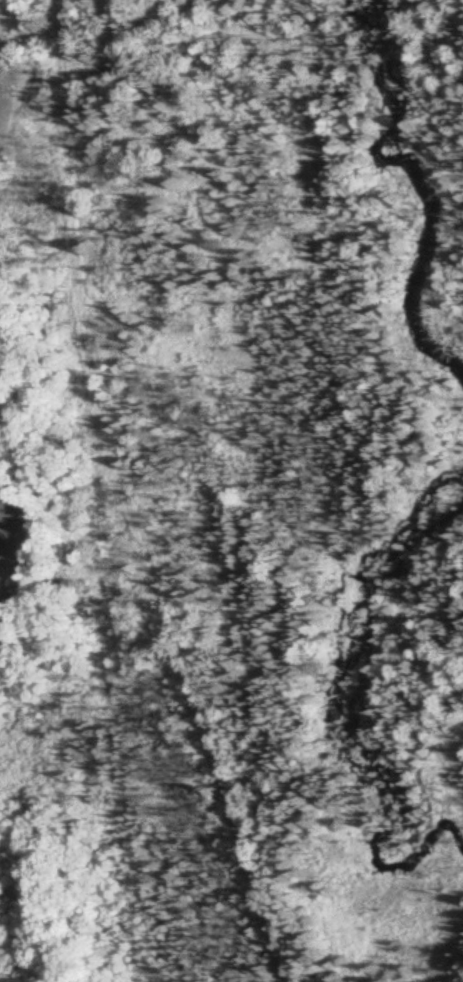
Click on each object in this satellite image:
river: (426, 187)
river: (346, 699)

